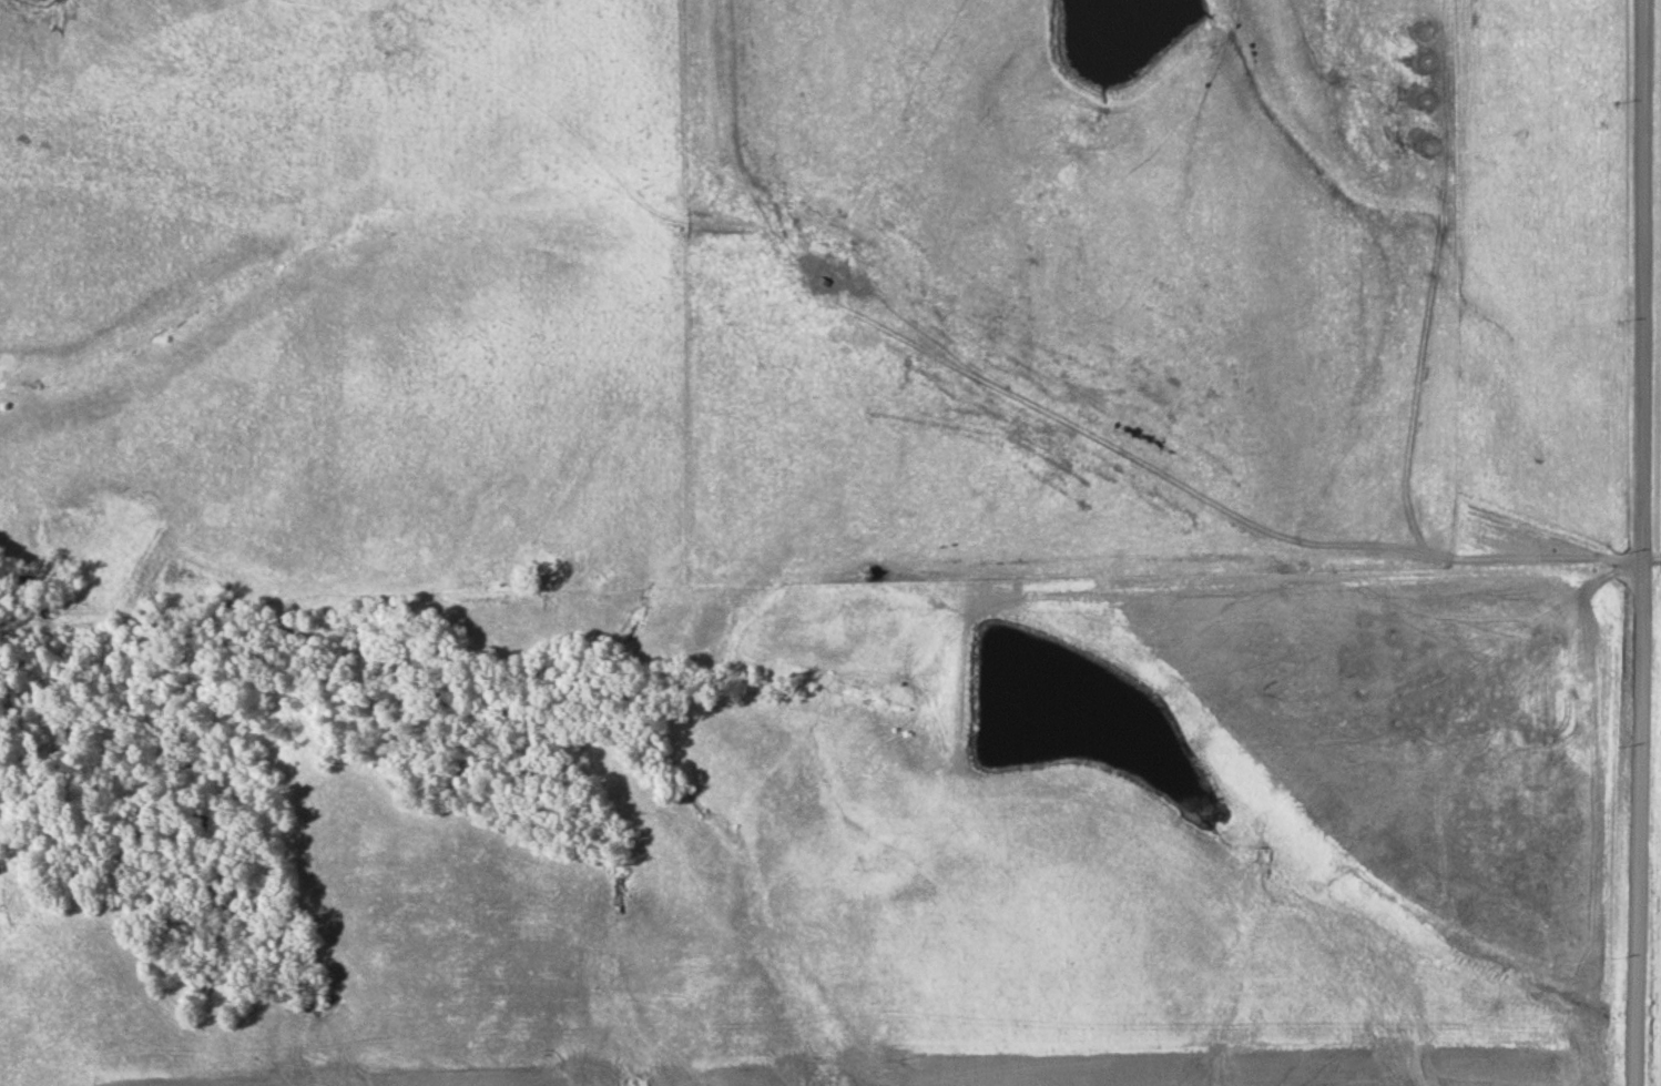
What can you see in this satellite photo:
road: (1645, 542)

